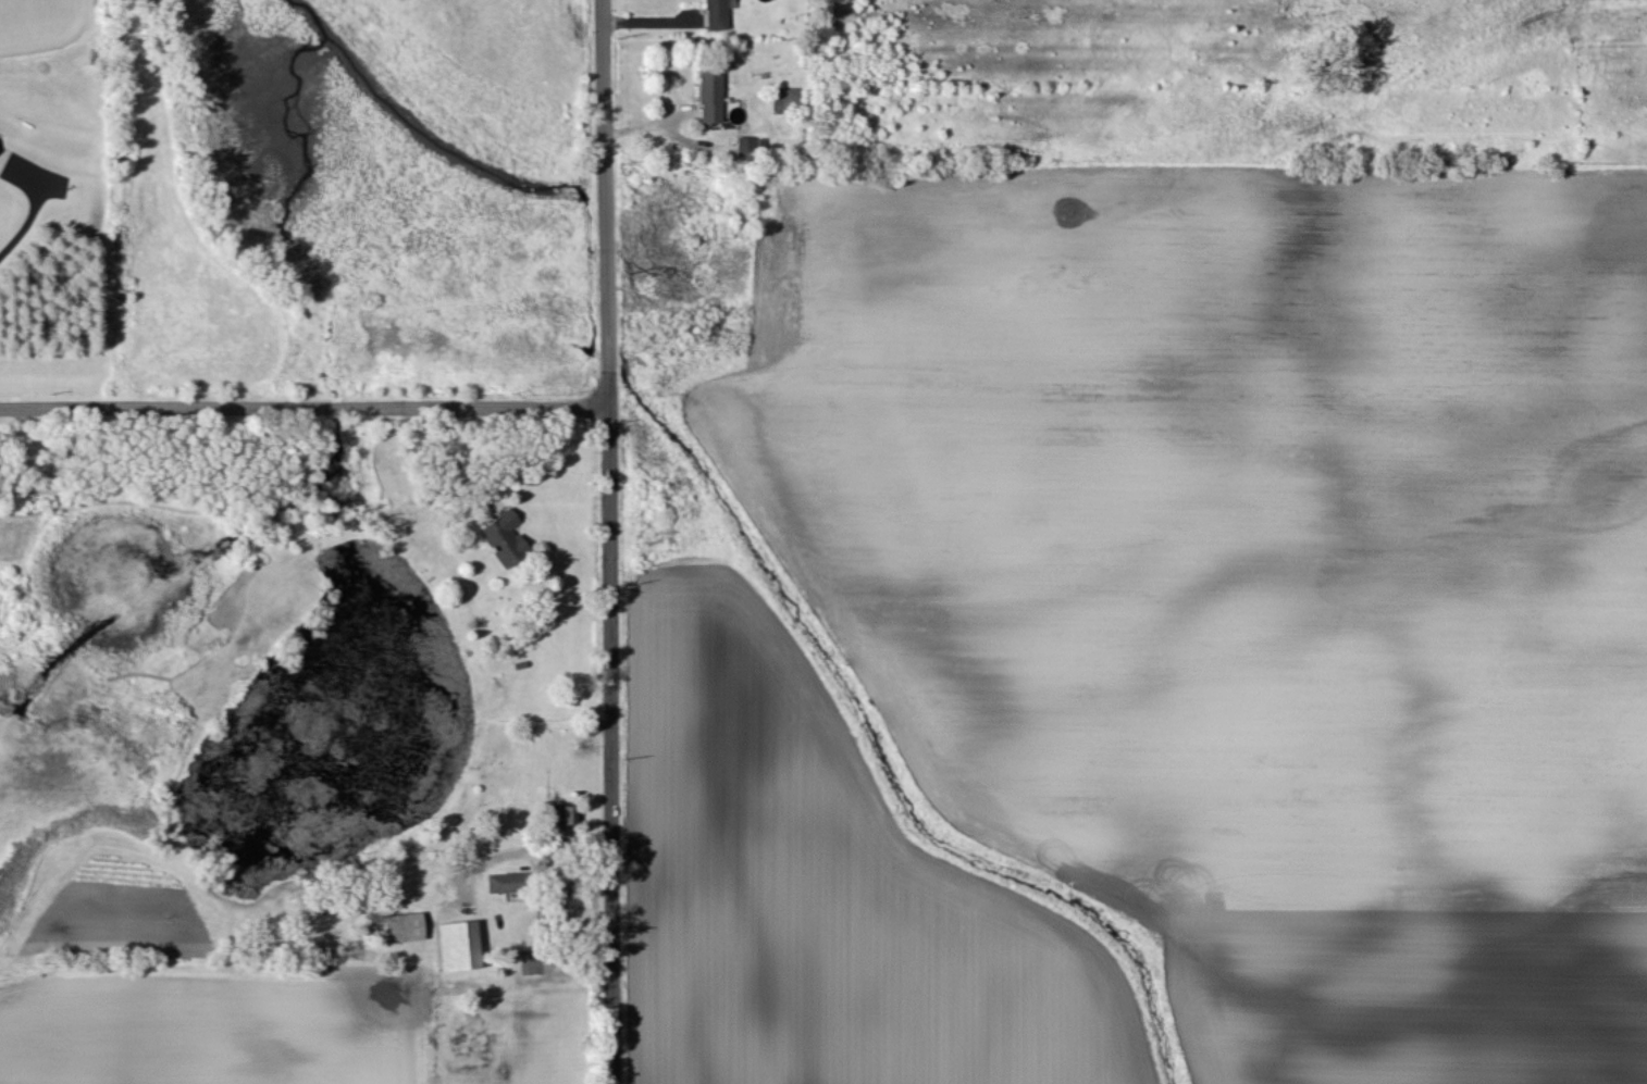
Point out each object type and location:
building: (713, 15)
building: (708, 97)
building: (3, 159)
road: (606, 204)
road: (21, 223)
road: (304, 410)
building: (501, 538)
road: (614, 747)
building: (553, 815)
road: (531, 852)
building: (400, 930)
building: (456, 947)

